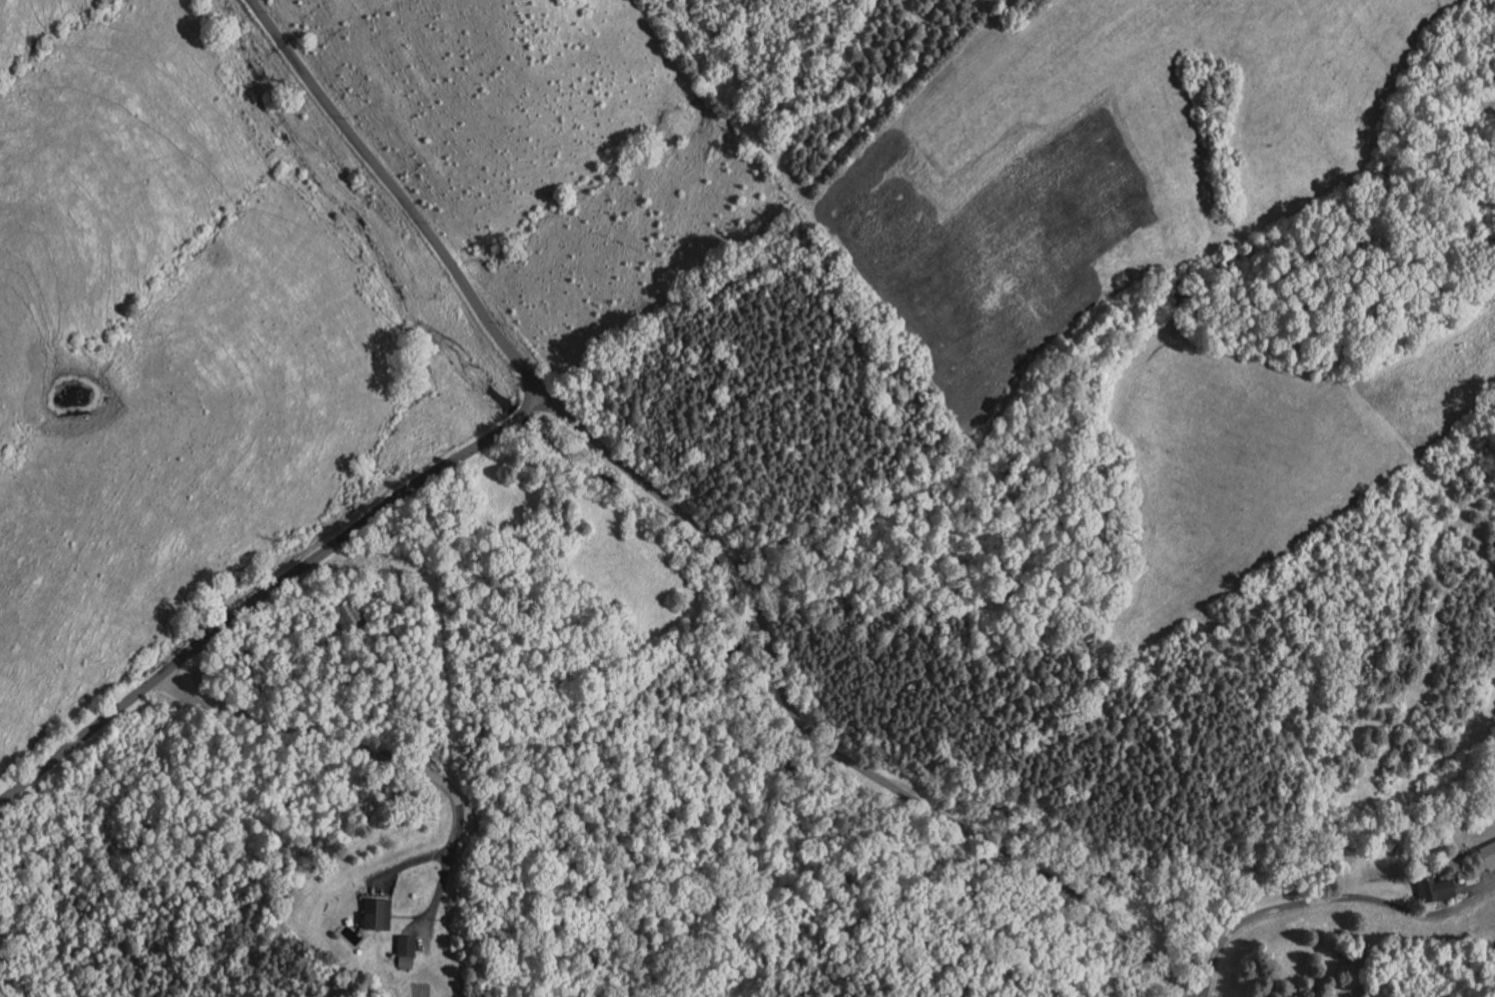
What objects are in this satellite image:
road: (398, 194)
road: (532, 400)
road: (519, 414)
road: (250, 599)
building: (349, 615)
road: (294, 649)
road: (813, 737)
road: (376, 754)
building: (1488, 854)
road: (1471, 887)
building: (1436, 890)
road: (1327, 897)
road: (436, 900)
building: (377, 914)
road: (408, 917)
building: (406, 951)

